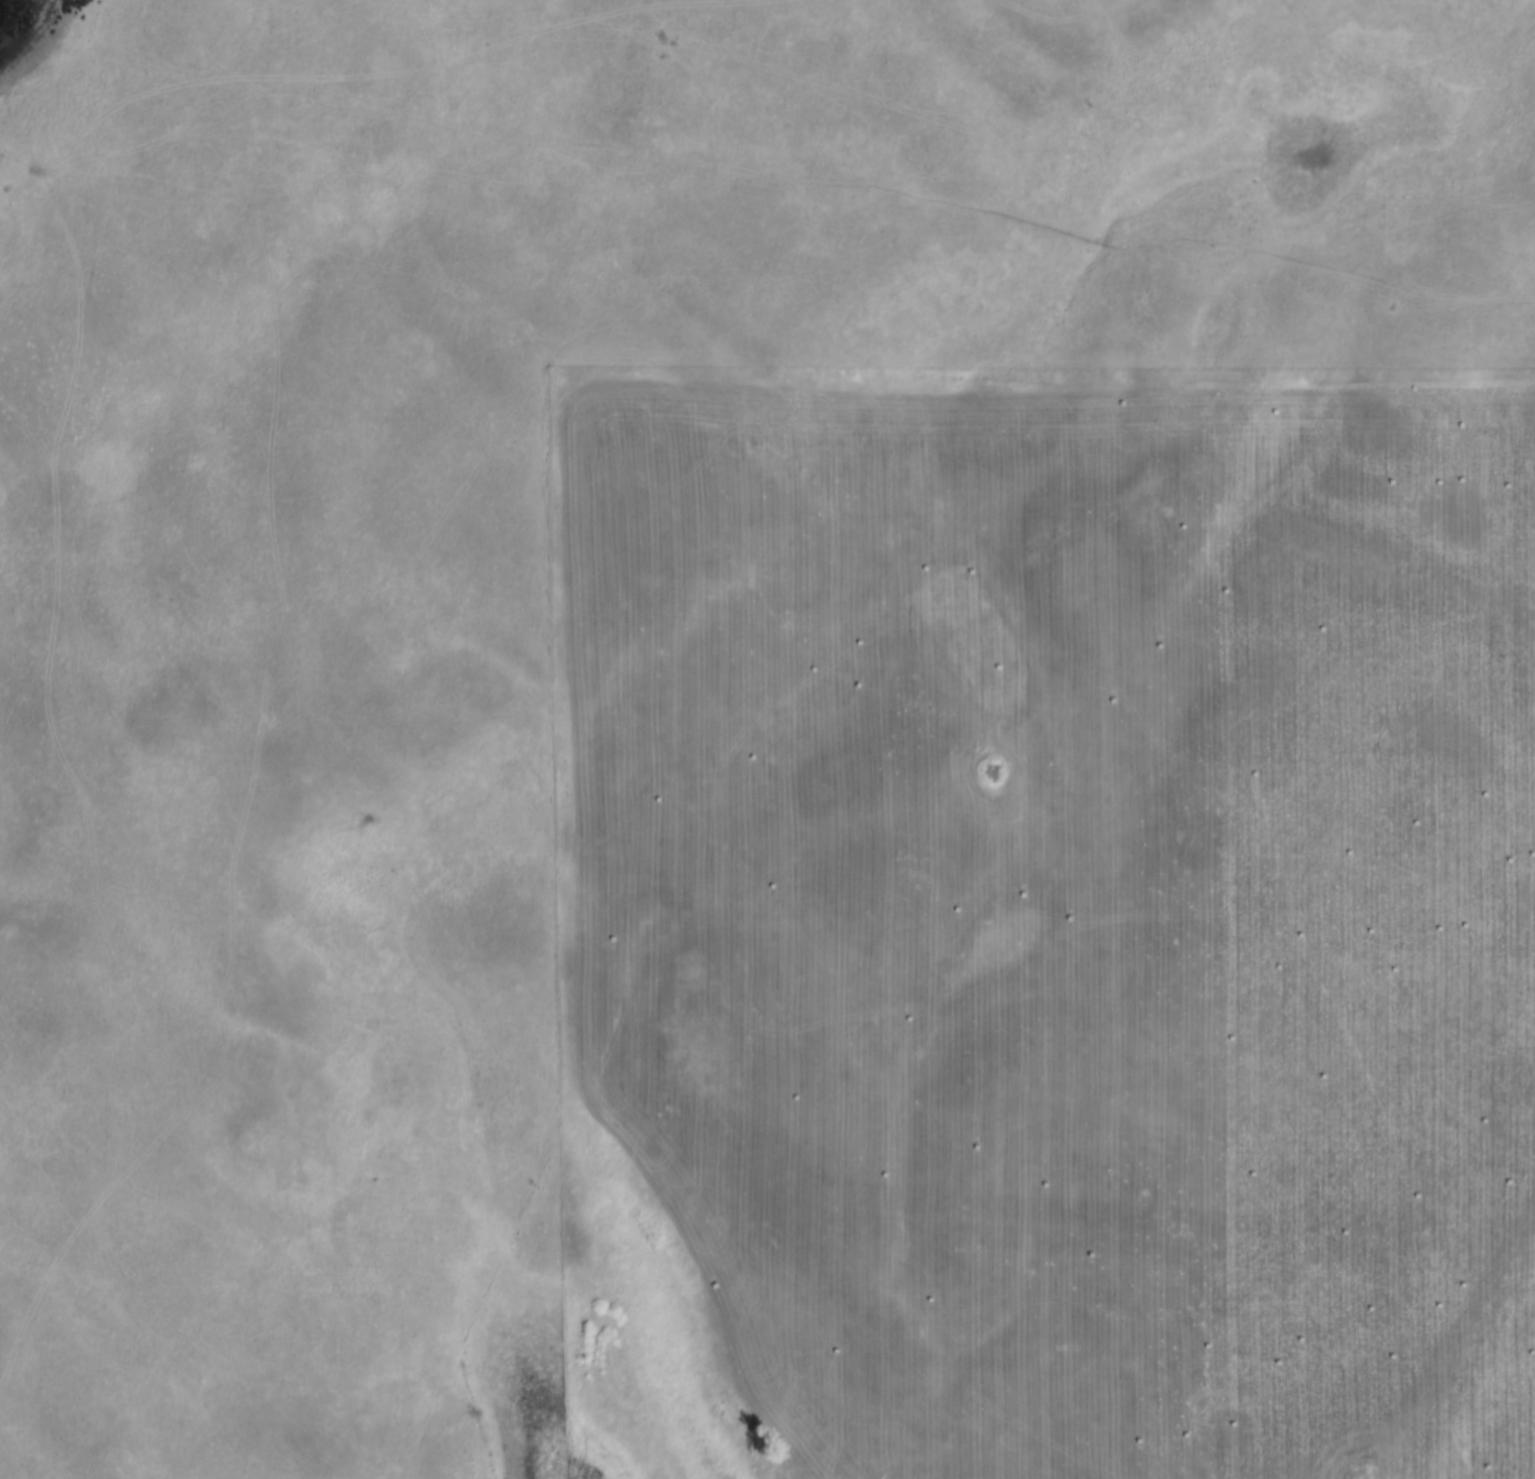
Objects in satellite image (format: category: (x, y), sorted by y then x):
building: (984, 1209)

